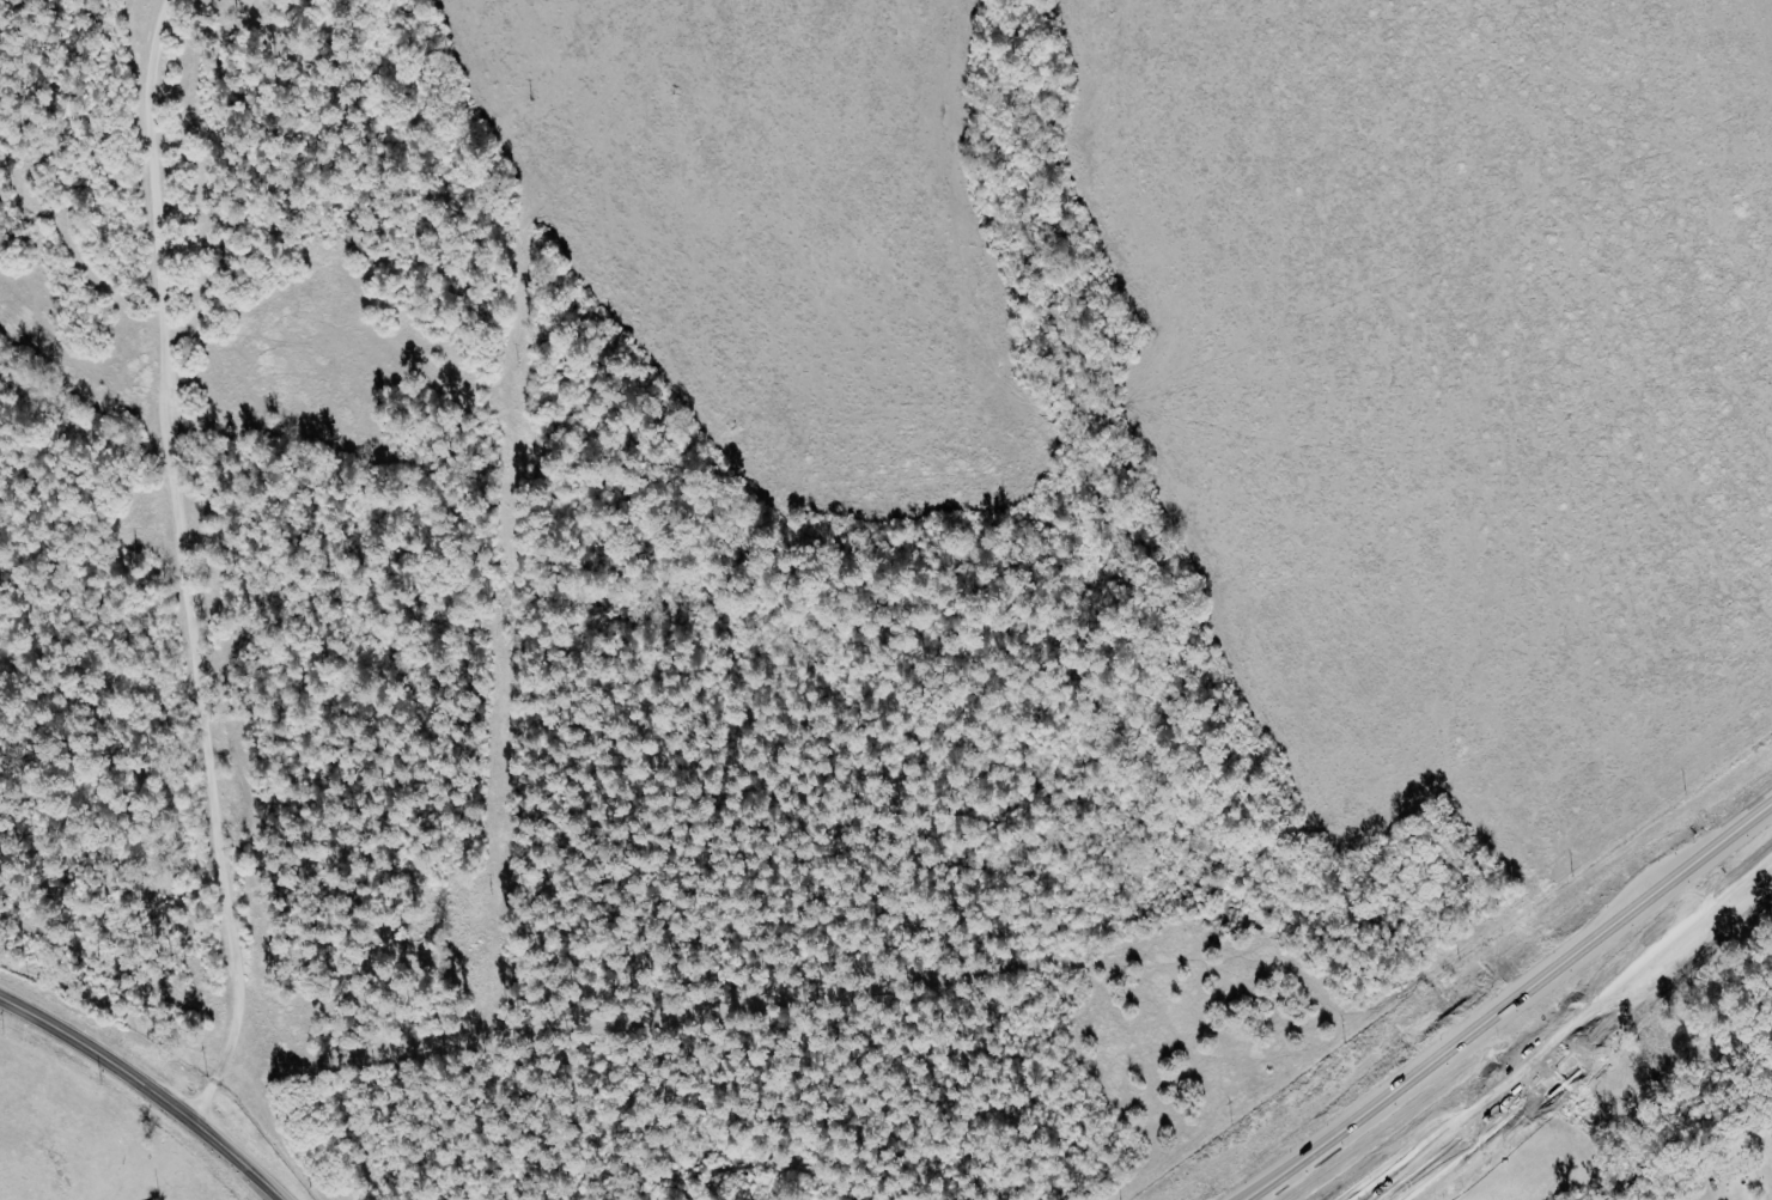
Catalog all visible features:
road: (178, 565)
road: (1511, 1006)
road: (1577, 1034)
road: (142, 1088)

